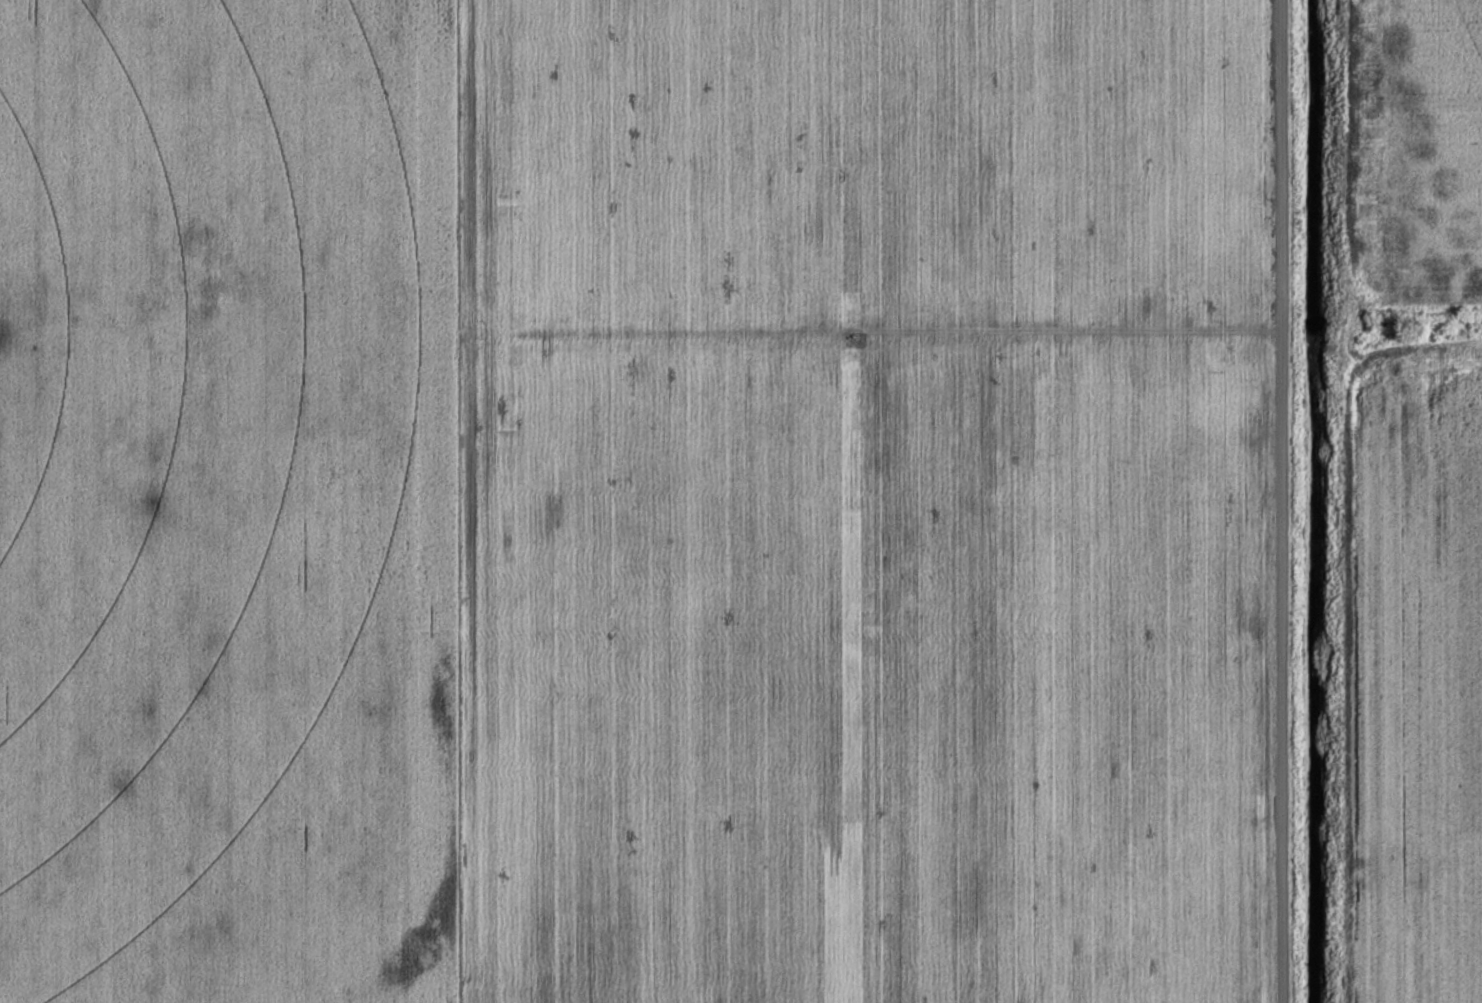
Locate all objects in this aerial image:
road: (1281, 501)

